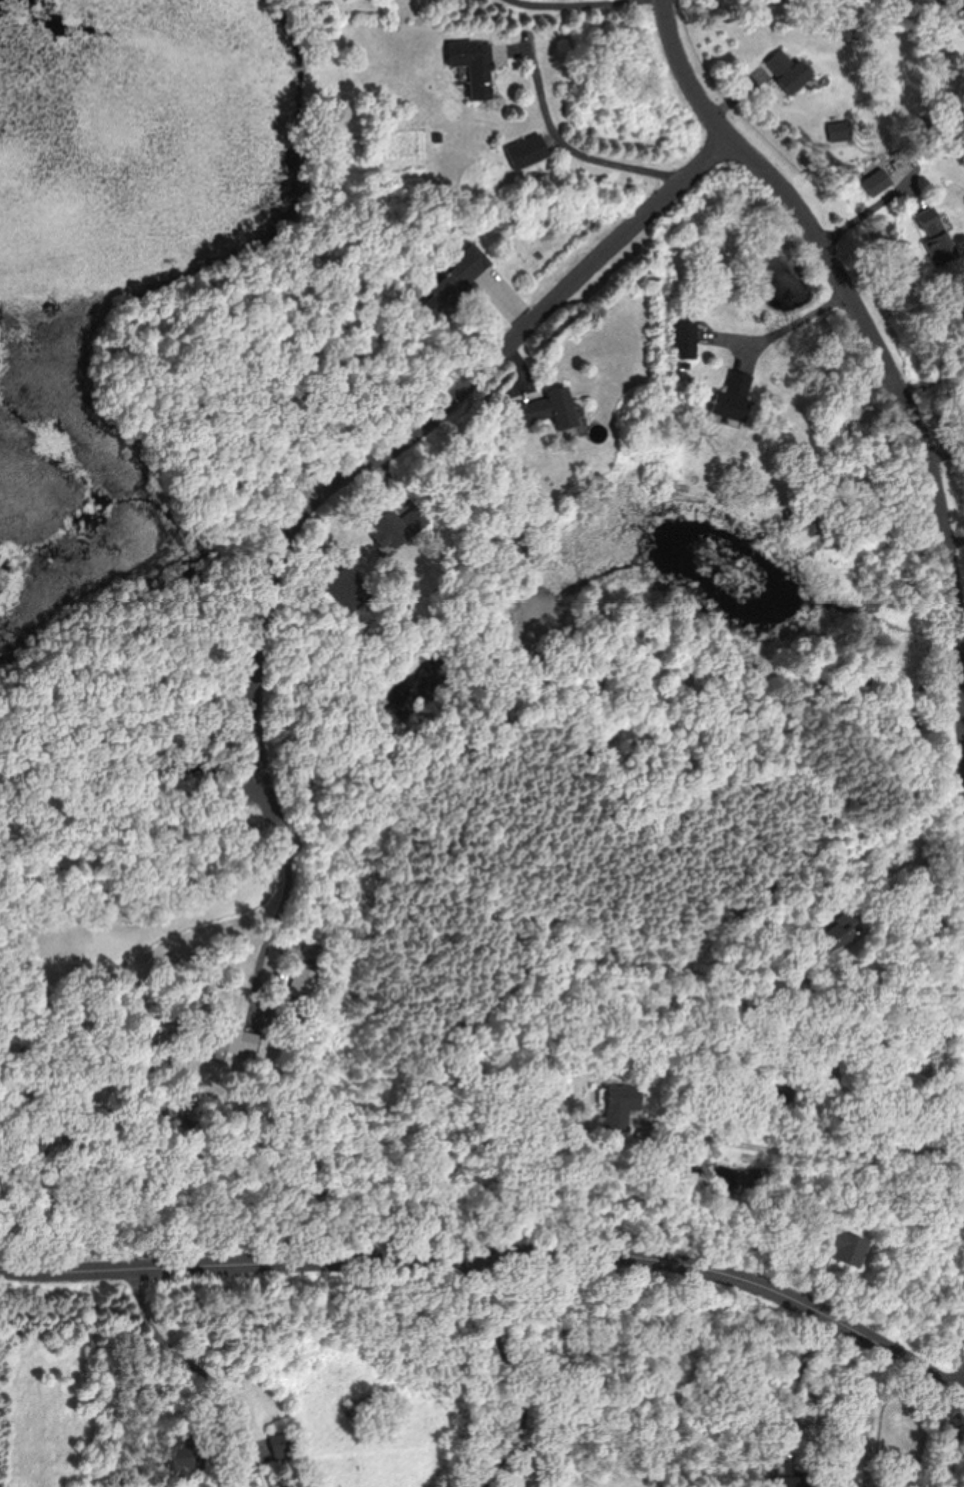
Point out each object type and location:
road: (573, 5)
building: (475, 66)
building: (790, 72)
building: (529, 151)
road: (578, 153)
building: (936, 233)
building: (458, 276)
road: (786, 318)
road: (871, 332)
building: (687, 342)
building: (735, 398)
building: (548, 407)
road: (415, 424)
building: (400, 525)
road: (269, 876)
building: (839, 935)
building: (305, 983)
building: (236, 1039)
building: (620, 1104)
road: (809, 1149)
building: (847, 1246)
road: (498, 1257)
road: (219, 1365)
building: (287, 1442)
building: (182, 1459)
building: (798, 1482)

